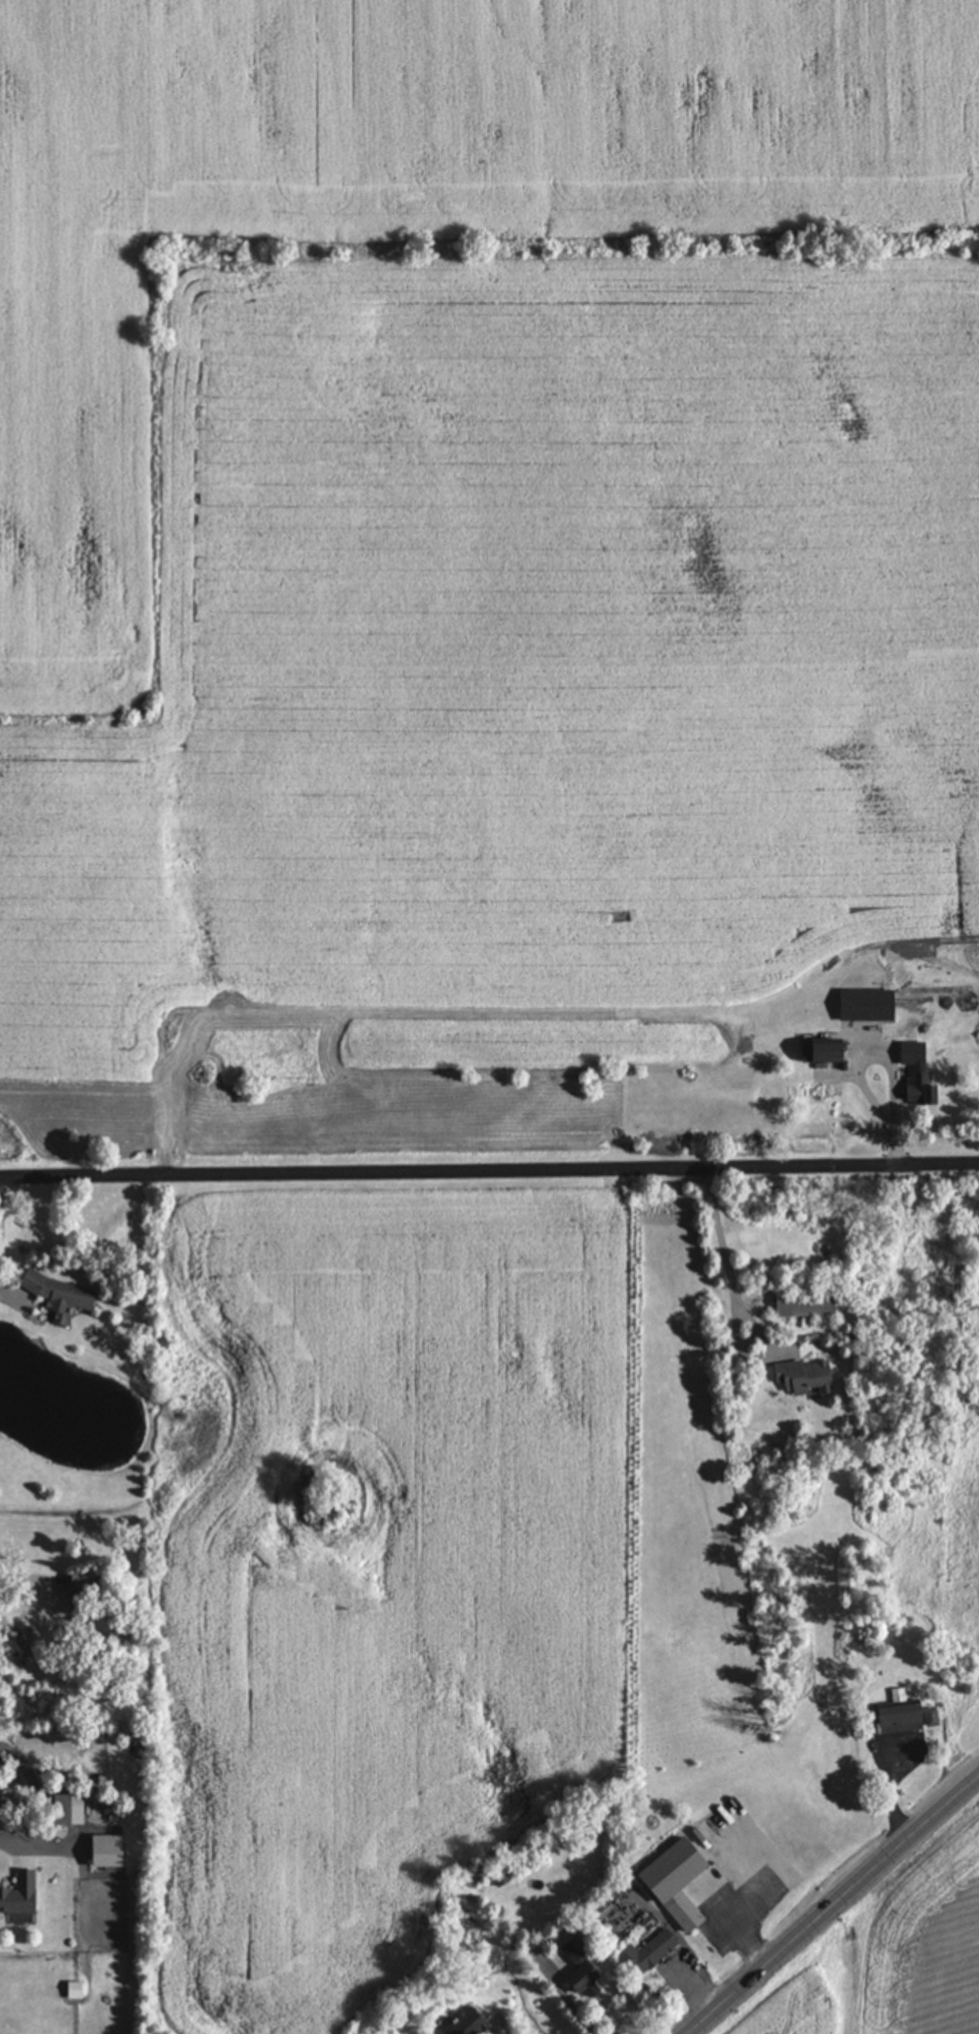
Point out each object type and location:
building: (815, 1050)
building: (908, 1052)
road: (856, 1064)
building: (915, 1089)
road: (489, 1170)
road: (1, 1222)
building: (56, 1295)
building: (801, 1303)
road: (736, 1306)
building: (800, 1377)
road: (22, 1585)
building: (901, 1718)
building: (63, 1809)
road: (20, 1840)
building: (100, 1851)
building: (671, 1882)
building: (16, 1894)
road: (834, 1906)
road: (737, 1929)
building: (644, 1954)
building: (571, 1967)
building: (71, 1990)
road: (586, 2013)

